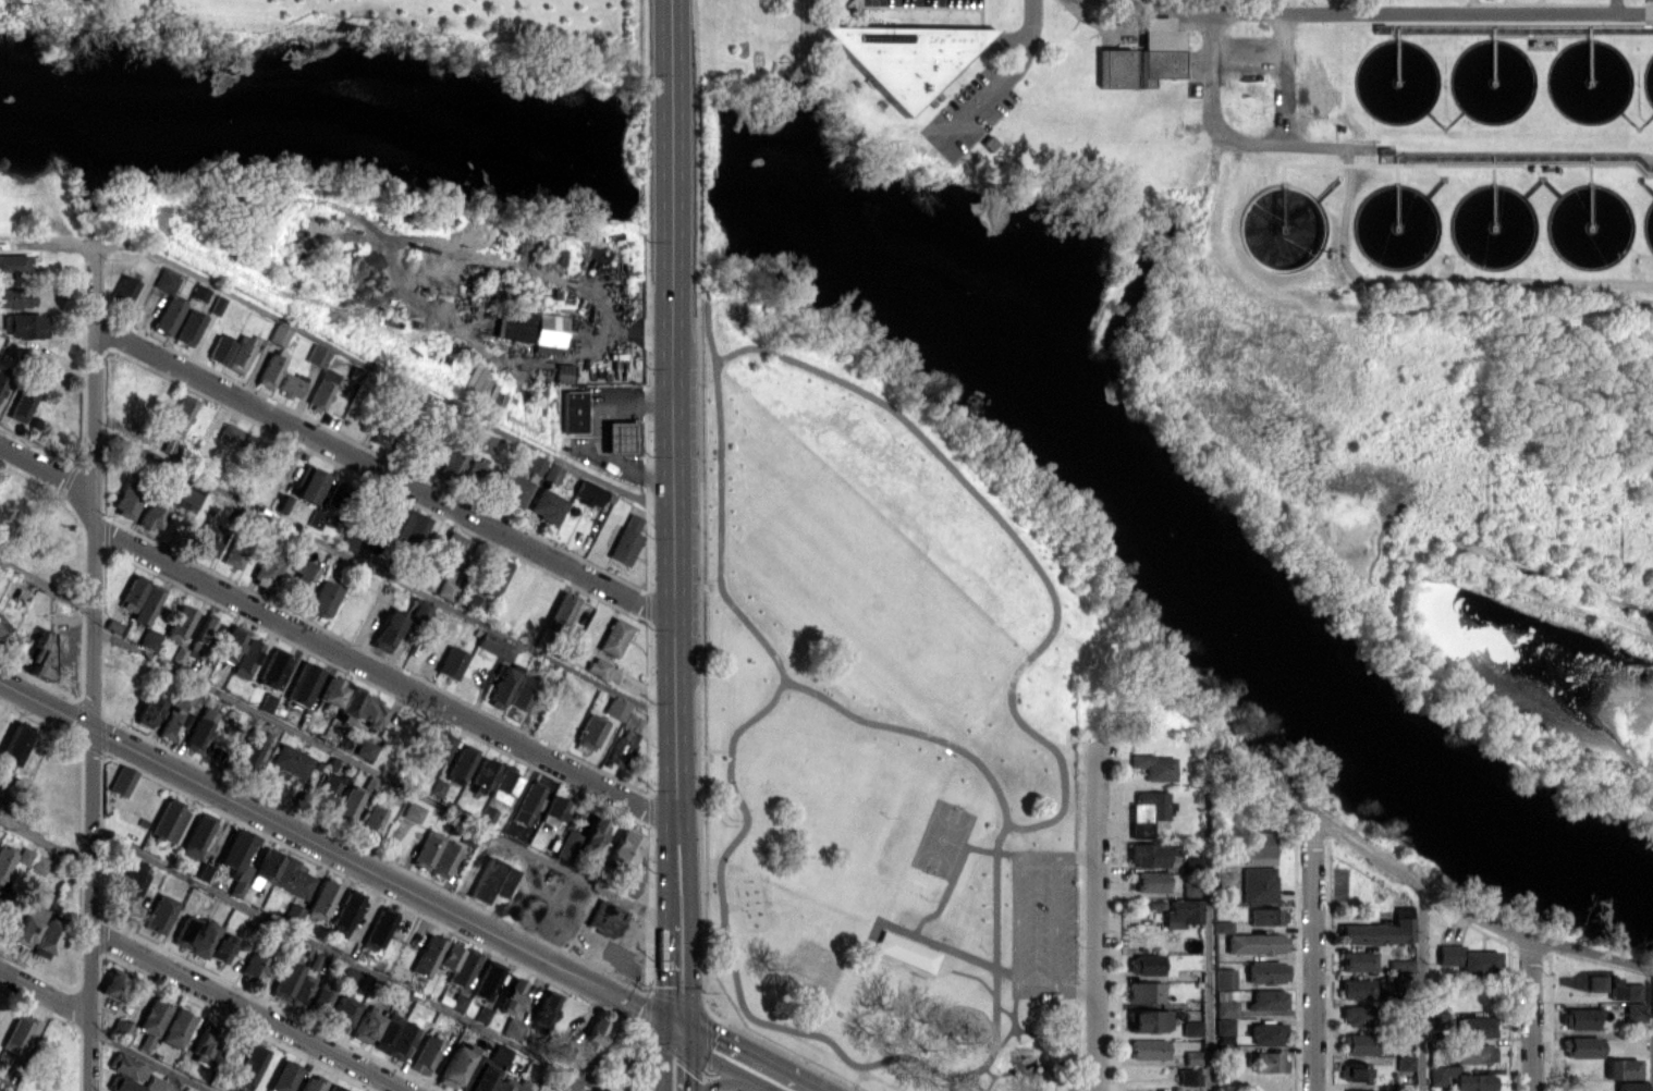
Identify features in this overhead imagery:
parking lot: (928, 3)
road: (1146, 3)
road: (1615, 5)
road: (1385, 12)
building: (1382, 27)
road: (668, 44)
building: (899, 52)
building: (1146, 56)
road: (1007, 70)
parking lot: (969, 105)
river: (305, 122)
road: (1234, 138)
road: (669, 155)
river: (659, 160)
road: (449, 260)
building: (13, 263)
building: (164, 281)
road: (1434, 284)
building: (123, 289)
building: (197, 292)
wastewater plant: (1335, 295)
building: (15, 297)
building: (167, 315)
building: (23, 324)
building: (187, 327)
building: (529, 329)
building: (278, 334)
building: (219, 348)
building: (238, 354)
building: (317, 355)
building: (269, 369)
road: (380, 370)
building: (563, 372)
building: (2, 375)
building: (477, 383)
building: (290, 384)
building: (321, 391)
building: (21, 403)
building: (574, 410)
building: (180, 415)
building: (384, 432)
road: (596, 433)
building: (622, 437)
building: (235, 438)
building: (485, 442)
building: (452, 462)
building: (535, 464)
road: (46, 470)
road: (383, 471)
building: (551, 471)
building: (476, 474)
building: (308, 485)
building: (512, 488)
building: (589, 493)
building: (187, 497)
building: (126, 500)
building: (546, 505)
building: (151, 512)
building: (314, 518)
building: (397, 520)
road: (672, 523)
river: (1185, 526)
building: (414, 528)
building: (207, 539)
building: (625, 540)
building: (351, 542)
building: (237, 547)
building: (449, 553)
building: (266, 568)
road: (383, 574)
building: (494, 576)
building: (298, 577)
road: (46, 587)
building: (445, 589)
building: (132, 592)
building: (321, 598)
building: (145, 603)
building: (417, 609)
building: (559, 612)
road: (1399, 622)
building: (177, 623)
building: (2, 626)
building: (387, 629)
building: (200, 633)
building: (613, 636)
building: (147, 639)
building: (230, 643)
building: (494, 646)
building: (245, 658)
building: (450, 662)
road: (90, 664)
building: (597, 666)
building: (271, 667)
road: (384, 674)
building: (302, 683)
building: (502, 684)
building: (330, 691)
building: (521, 691)
building: (266, 701)
building: (347, 703)
park: (884, 704)
building: (614, 709)
building: (148, 711)
building: (368, 714)
building: (171, 721)
building: (198, 730)
building: (588, 732)
building: (625, 737)
building: (13, 744)
building: (438, 746)
building: (364, 748)
building: (249, 749)
building: (289, 760)
building: (461, 761)
building: (1153, 765)
building: (482, 773)
road: (378, 775)
building: (121, 780)
building: (502, 785)
building: (436, 787)
building: (325, 788)
building: (0, 789)
building: (525, 804)
building: (345, 806)
building: (553, 808)
building: (412, 811)
building: (1146, 812)
building: (486, 814)
building: (168, 820)
building: (369, 820)
road: (290, 829)
building: (196, 835)
park: (944, 838)
building: (579, 841)
road: (45, 842)
building: (624, 846)
building: (1259, 847)
building: (426, 849)
building: (1146, 854)
building: (23, 855)
building: (4, 857)
building: (236, 859)
building: (442, 859)
building: (1183, 863)
building: (37, 865)
building: (262, 868)
road: (1018, 877)
building: (131, 878)
building: (291, 878)
building: (491, 879)
building: (1149, 881)
building: (625, 883)
building: (1258, 884)
road: (1422, 885)
building: (320, 899)
building: (345, 910)
building: (1180, 912)
building: (158, 914)
building: (291, 914)
building: (1264, 916)
building: (604, 919)
road: (1097, 919)
parking lot: (1042, 923)
road: (1054, 923)
building: (27, 924)
building: (379, 925)
road: (687, 925)
building: (1221, 925)
road: (1205, 929)
building: (1380, 929)
building: (185, 931)
building: (45, 937)
building: (203, 937)
building: (1254, 943)
building: (220, 947)
road: (946, 947)
road: (1311, 949)
building: (907, 951)
building: (426, 955)
road: (664, 955)
road: (347, 958)
building: (1467, 959)
building: (1355, 960)
building: (456, 963)
building: (1144, 964)
building: (1399, 964)
building: (252, 966)
building: (1265, 971)
building: (353, 978)
building: (1223, 978)
building: (1400, 978)
building: (285, 980)
building: (487, 980)
building: (1594, 982)
building: (113, 985)
building: (1354, 988)
road: (1419, 988)
building: (301, 990)
road: (1050, 991)
building: (1144, 991)
building: (1624, 991)
road: (45, 993)
building: (510, 995)
building: (319, 997)
road: (623, 997)
building: (453, 998)
building: (1266, 1000)
building: (1223, 1004)
building: (544, 1008)
road: (247, 1009)
building: (1631, 1012)
building: (340, 1014)
building: (481, 1014)
road: (1529, 1014)
building: (152, 1016)
building: (1354, 1016)
building: (1436, 1018)
building: (1577, 1018)
traffic signals: (665, 1019)
building: (1149, 1019)
building: (1222, 1025)
building: (364, 1026)
building: (1474, 1026)
building: (175, 1027)
building: (512, 1028)
building: (1190, 1028)
building: (120, 1029)
road: (1651, 1030)
building: (385, 1031)
traffic signals: (687, 1031)
building: (1264, 1032)
building: (15, 1033)
building: (593, 1035)
building: (401, 1041)
building: (144, 1042)
building: (1356, 1043)
building: (204, 1044)
building: (1579, 1046)
building: (1148, 1049)
building: (1472, 1052)
building: (499, 1053)
building: (425, 1054)
road: (736, 1055)
building: (1190, 1057)
road: (149, 1061)
road: (687, 1061)
building: (1266, 1061)
building: (1401, 1062)
building: (454, 1065)
building: (126, 1066)
building: (247, 1066)
building: (1619, 1068)
building: (1352, 1070)
building: (283, 1076)
building: (1188, 1076)
building: (485, 1077)
building: (1458, 1079)
road: (743, 1080)
road: (171, 1081)
building: (564, 1082)
building: (154, 1083)
building: (309, 1083)
building: (4, 1084)
building: (122, 1084)
building: (500, 1086)
building: (523, 1086)
building: (1628, 1086)
building: (335, 1088)
building: (1357, 1090)

